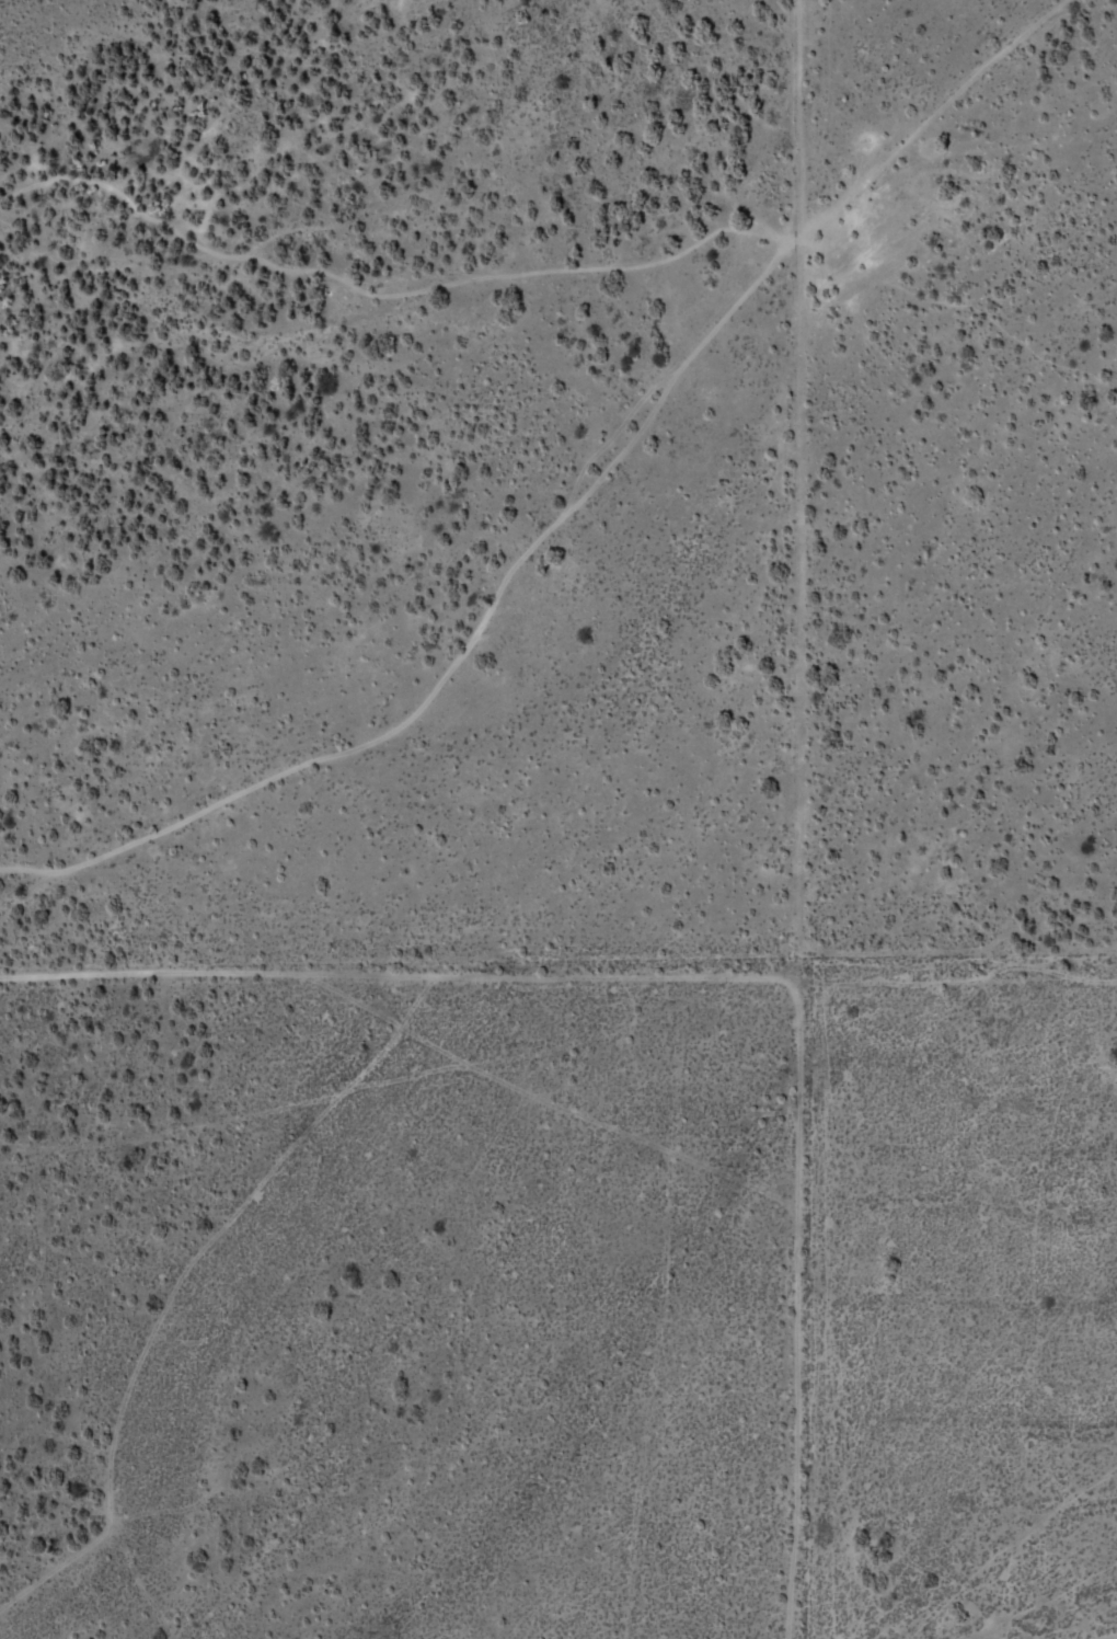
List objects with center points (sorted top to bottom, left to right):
road: (564, 511)
road: (795, 820)
road: (560, 977)

